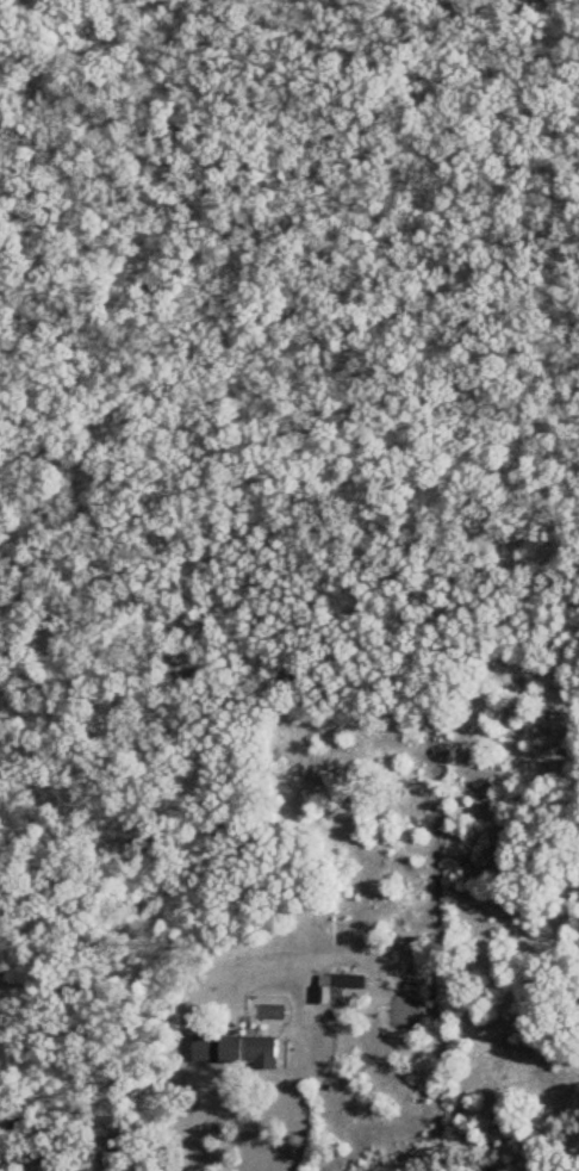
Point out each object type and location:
building: (335, 987)
building: (235, 1051)
road: (179, 1108)

